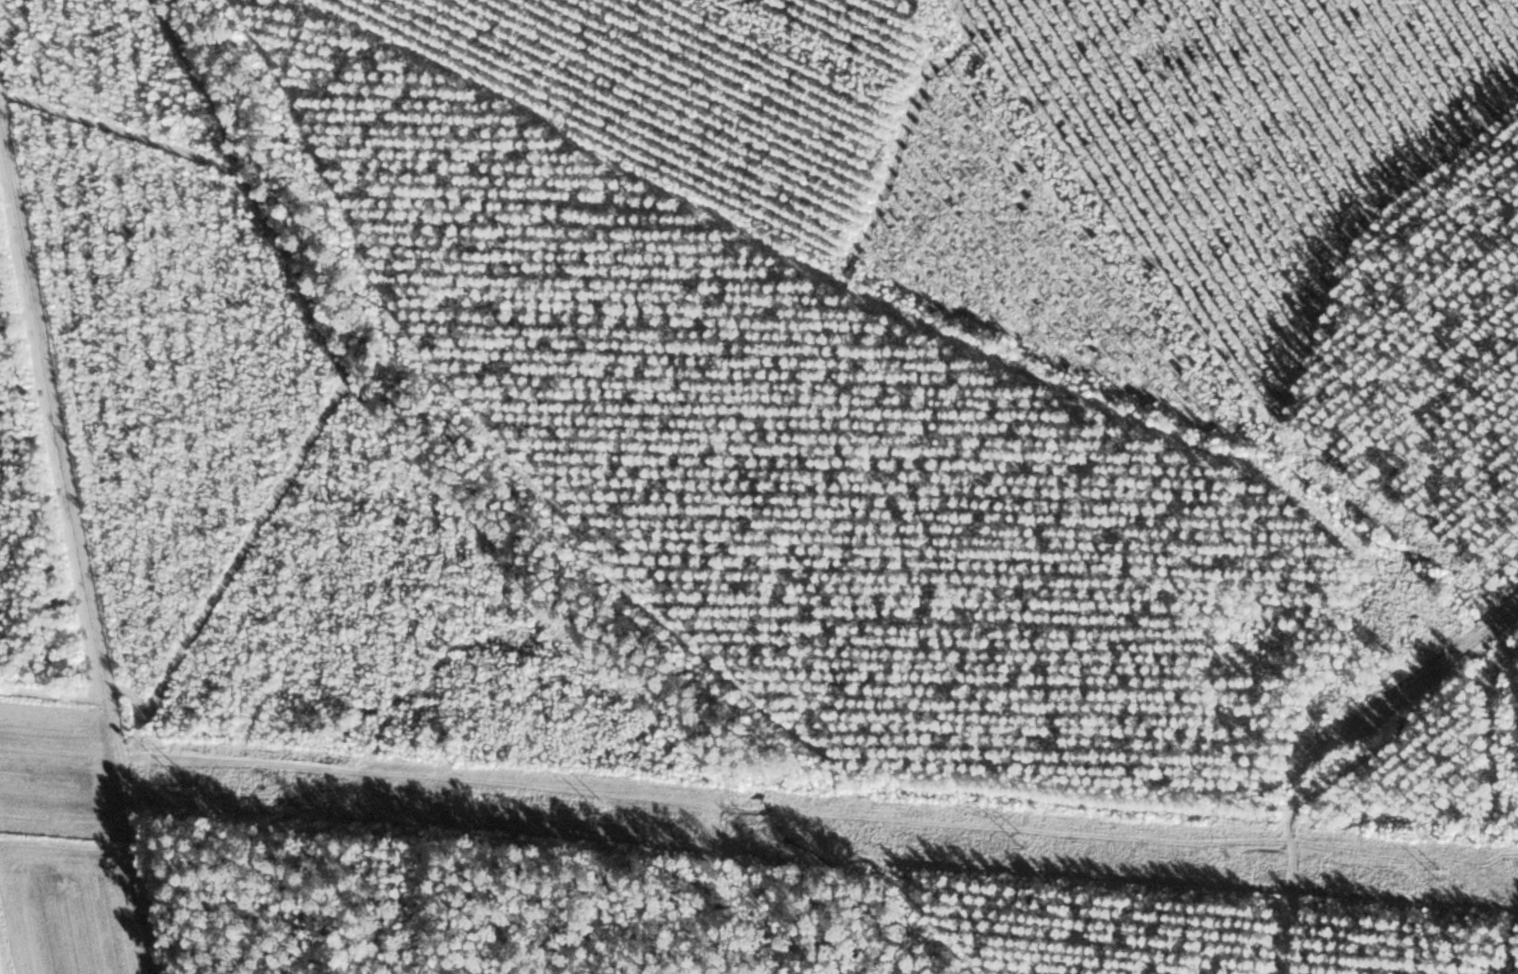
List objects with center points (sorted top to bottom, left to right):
road: (68, 617)
road: (1188, 759)
power tower: (180, 772)
power tower: (602, 805)
power tower: (1022, 840)
power tower: (1437, 870)

